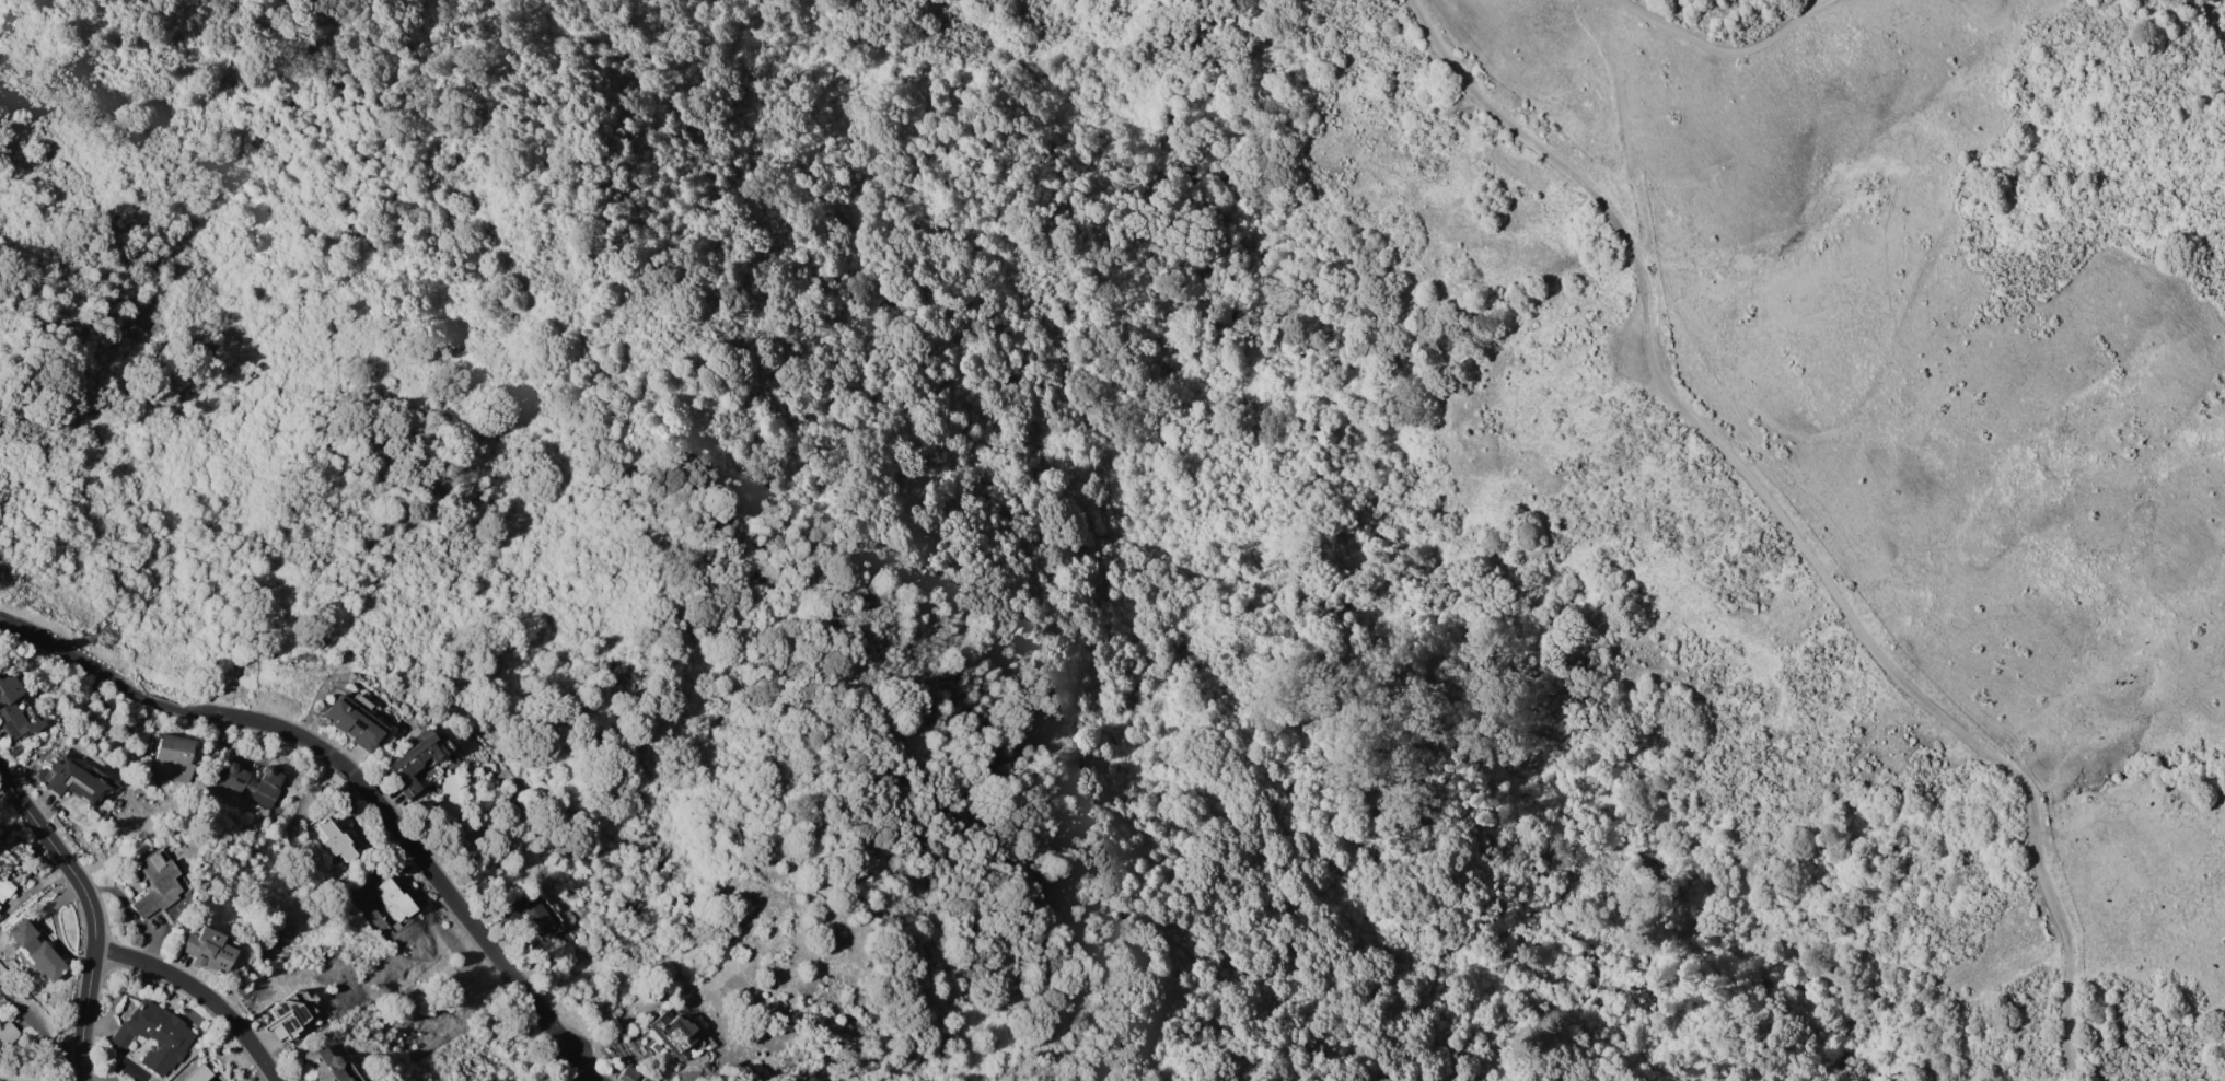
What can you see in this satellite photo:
road: (1571, 2)
road: (1988, 21)
road: (2214, 22)
road: (1728, 50)
road: (1623, 128)
road: (1787, 521)
building: (15, 718)
building: (355, 721)
building: (172, 754)
building: (422, 763)
road: (1430, 763)
road: (346, 770)
building: (73, 780)
building: (252, 783)
building: (335, 839)
building: (5, 873)
building: (155, 882)
building: (394, 895)
road: (93, 911)
building: (529, 920)
building: (35, 950)
building: (207, 950)
road: (202, 995)
building: (291, 1011)
road: (43, 1026)
building: (672, 1032)
building: (7, 1033)
building: (151, 1038)
building: (326, 1066)
building: (197, 1073)
road: (592, 1074)
building: (627, 1074)
road: (97, 1076)
road: (32, 1078)
building: (644, 1079)

